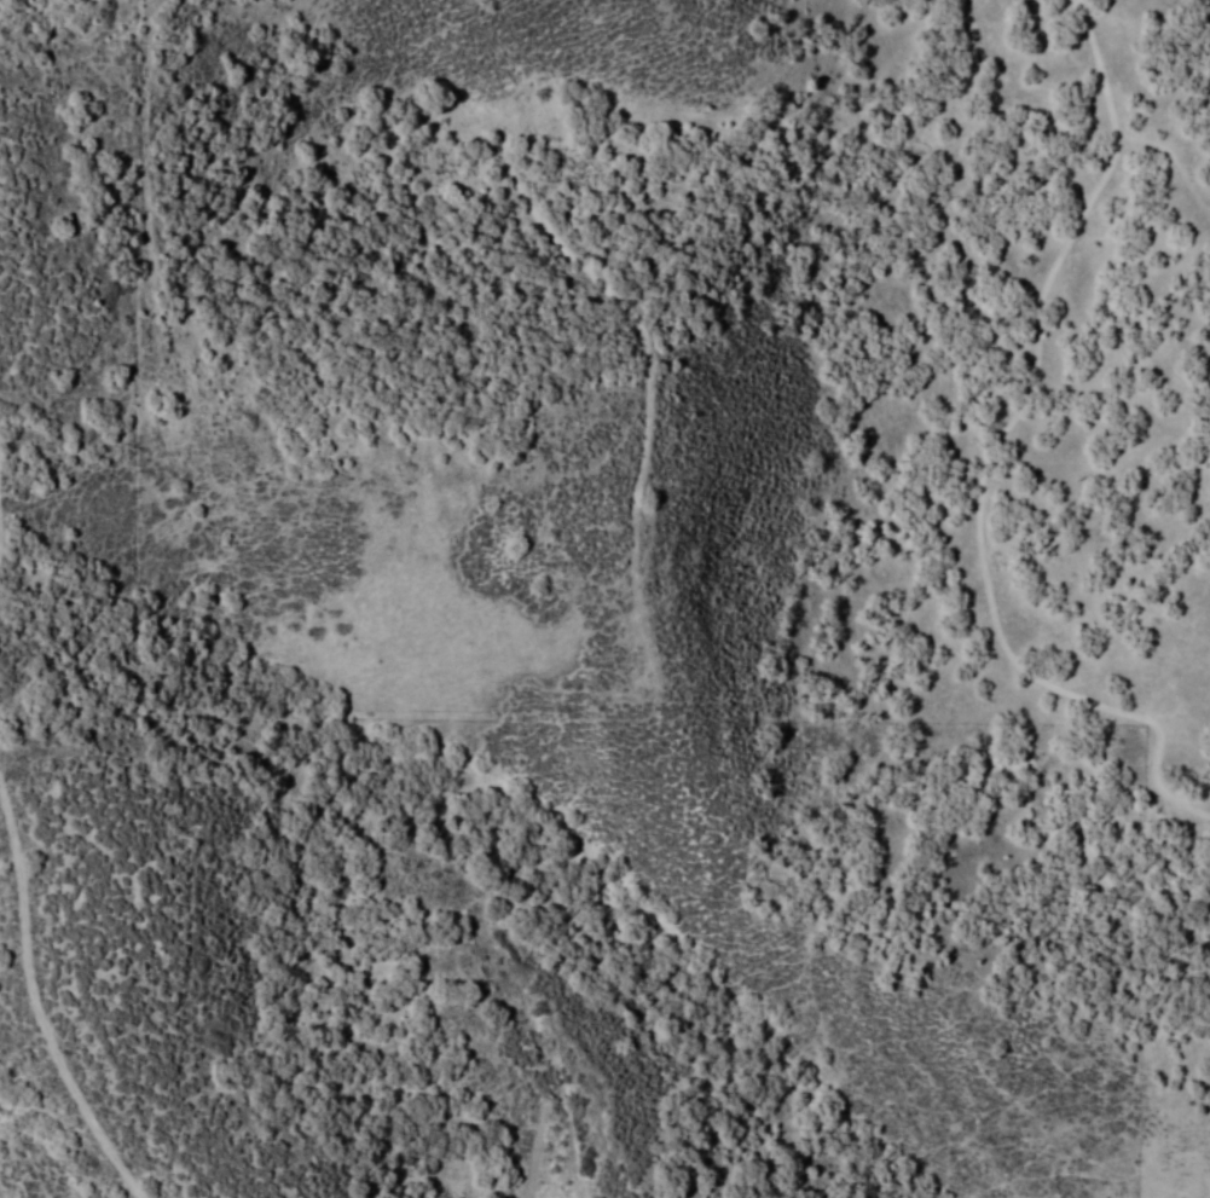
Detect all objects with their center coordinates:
building: (969, 24)

